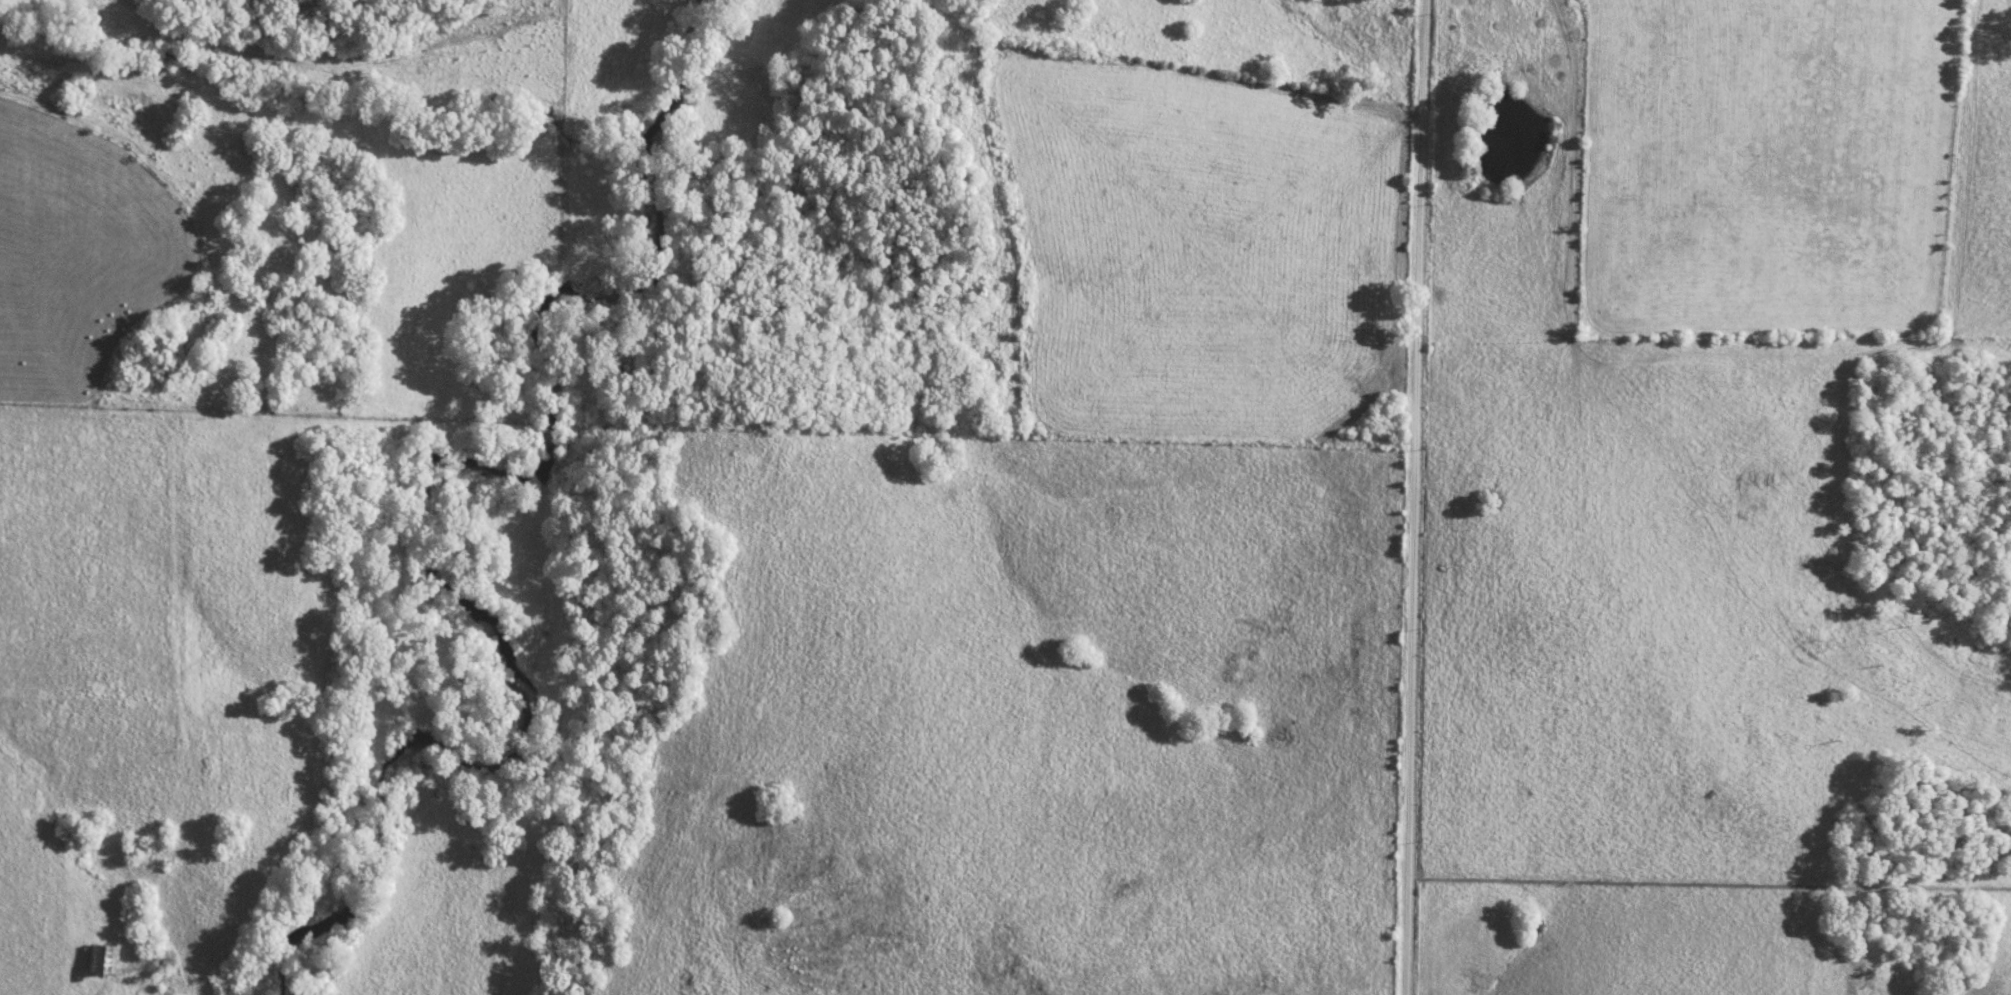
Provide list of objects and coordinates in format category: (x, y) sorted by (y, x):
road: (1417, 497)
building: (105, 962)

